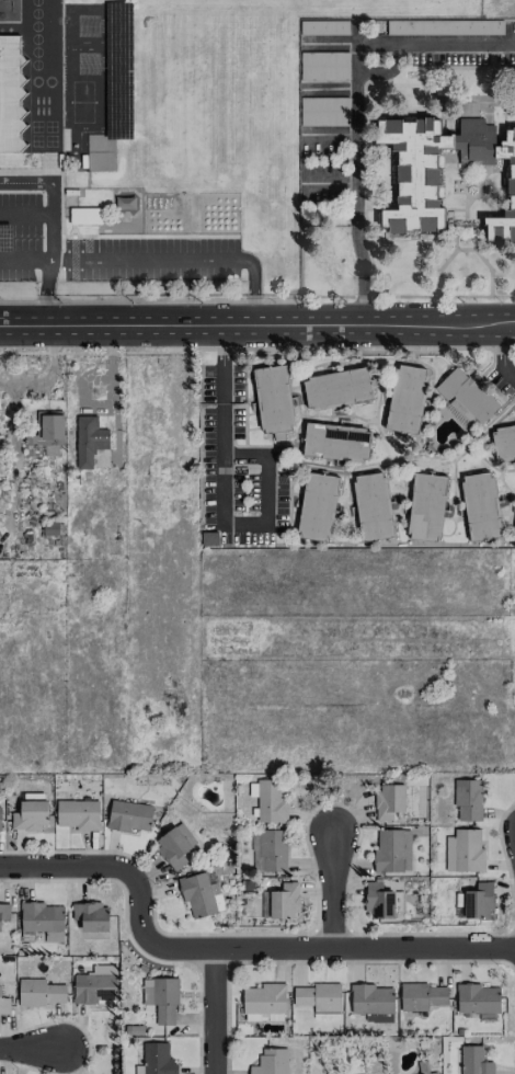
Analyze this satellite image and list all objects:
building: (323, 26)
building: (444, 26)
building: (323, 66)
building: (10, 94)
road: (354, 103)
building: (323, 111)
building: (416, 186)
road: (24, 215)
building: (84, 215)
road: (48, 229)
road: (24, 259)
road: (180, 259)
road: (256, 324)
road: (256, 347)
road: (502, 354)
road: (111, 368)
building: (337, 388)
building: (466, 396)
building: (273, 399)
building: (407, 399)
road: (220, 424)
building: (48, 432)
building: (89, 441)
building: (335, 442)
building: (503, 442)
building: (176, 455)
road: (264, 466)
building: (317, 506)
building: (373, 506)
building: (426, 506)
building: (480, 506)
road: (243, 523)
building: (268, 800)
building: (468, 800)
building: (388, 801)
building: (30, 812)
building: (78, 814)
building: (129, 815)
building: (0, 819)
building: (174, 846)
building: (392, 850)
building: (465, 852)
road: (331, 888)
building: (201, 893)
building: (284, 901)
building: (378, 901)
building: (477, 901)
building: (3, 912)
building: (91, 916)
building: (43, 919)
road: (229, 948)
building: (95, 985)
building: (39, 993)
building: (421, 996)
building: (162, 998)
building: (319, 998)
building: (477, 998)
building: (264, 1002)
building: (371, 1002)
building: (4, 1005)
road: (215, 1012)
road: (32, 1048)
building: (158, 1059)
building: (473, 1061)
building: (271, 1062)
building: (432, 1073)

